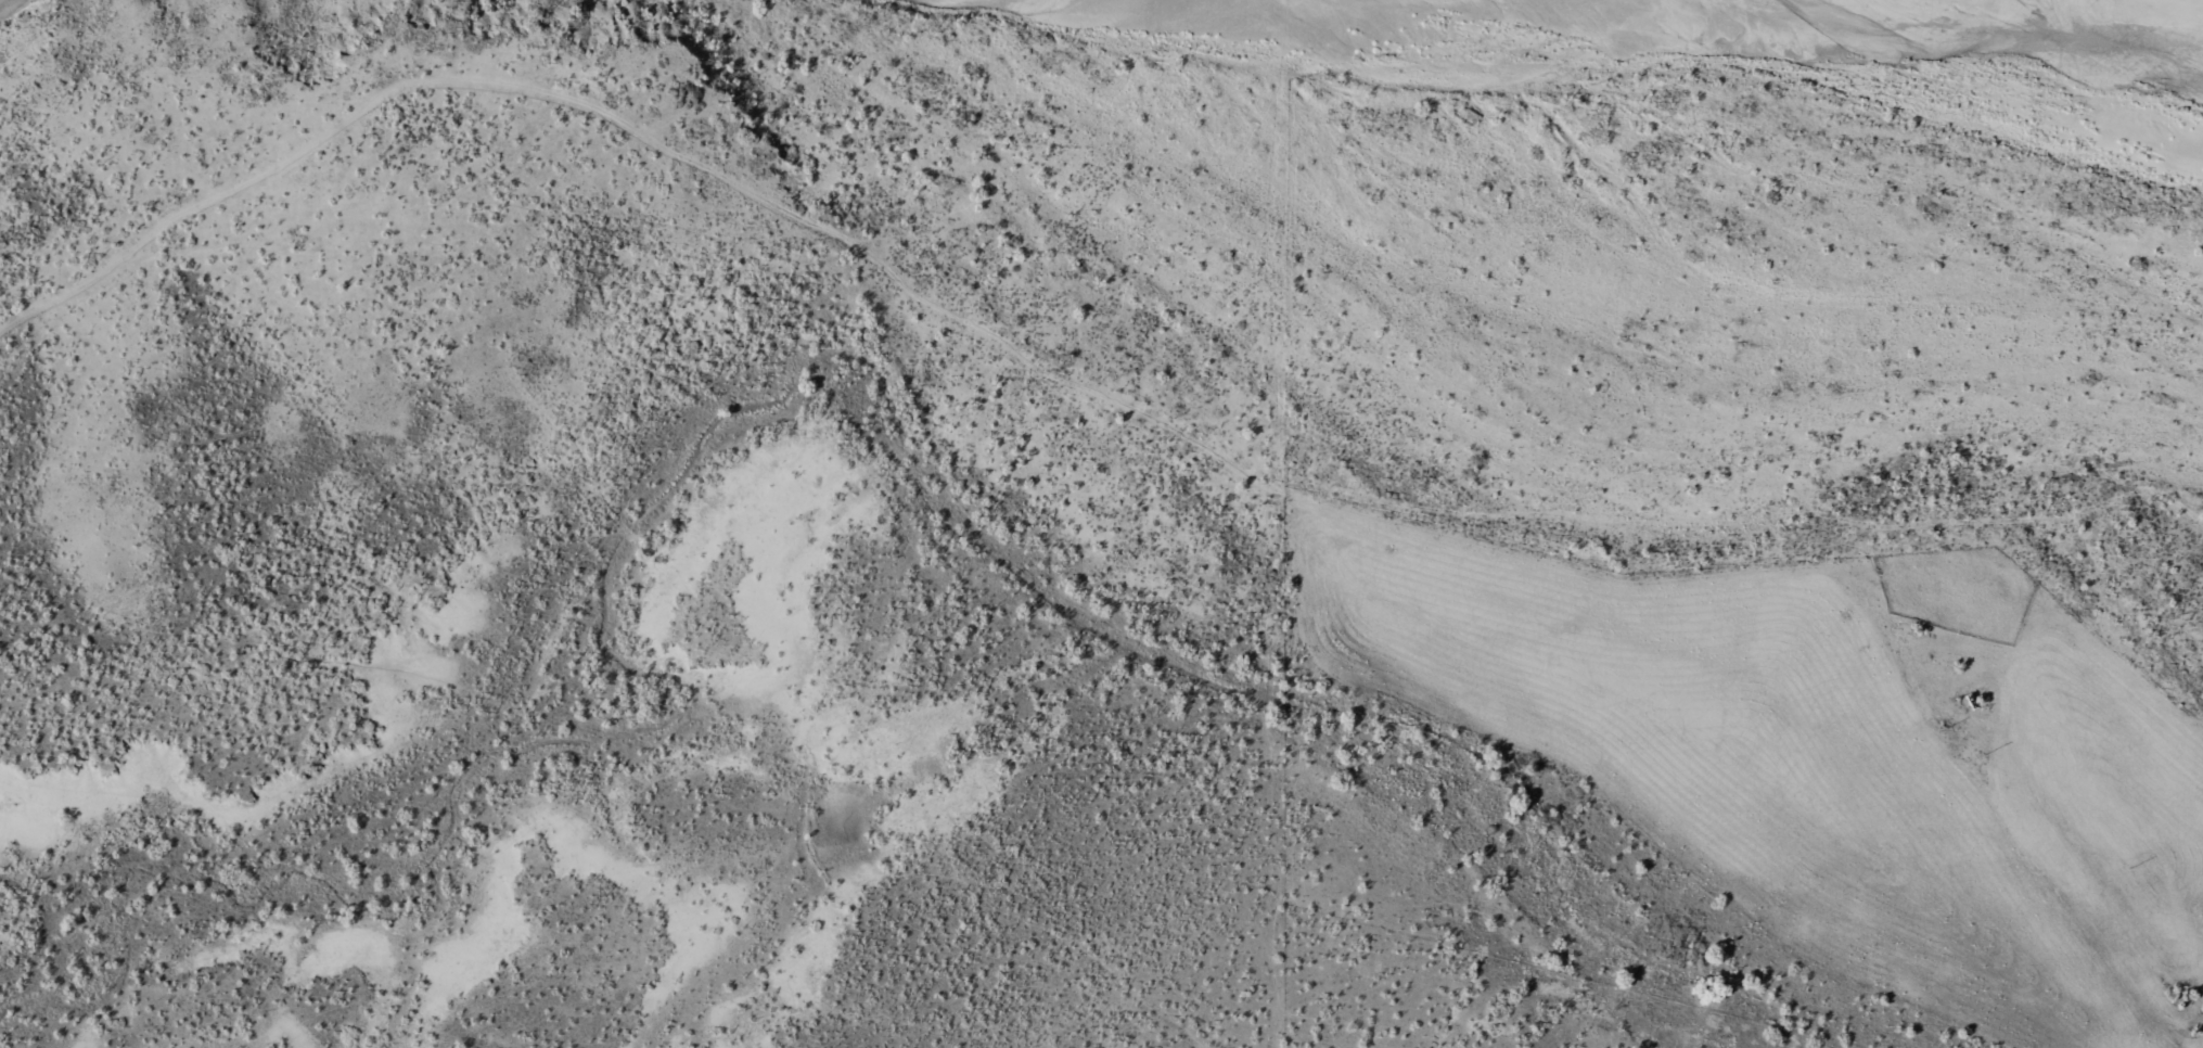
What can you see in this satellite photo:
river: (2061, 23)

